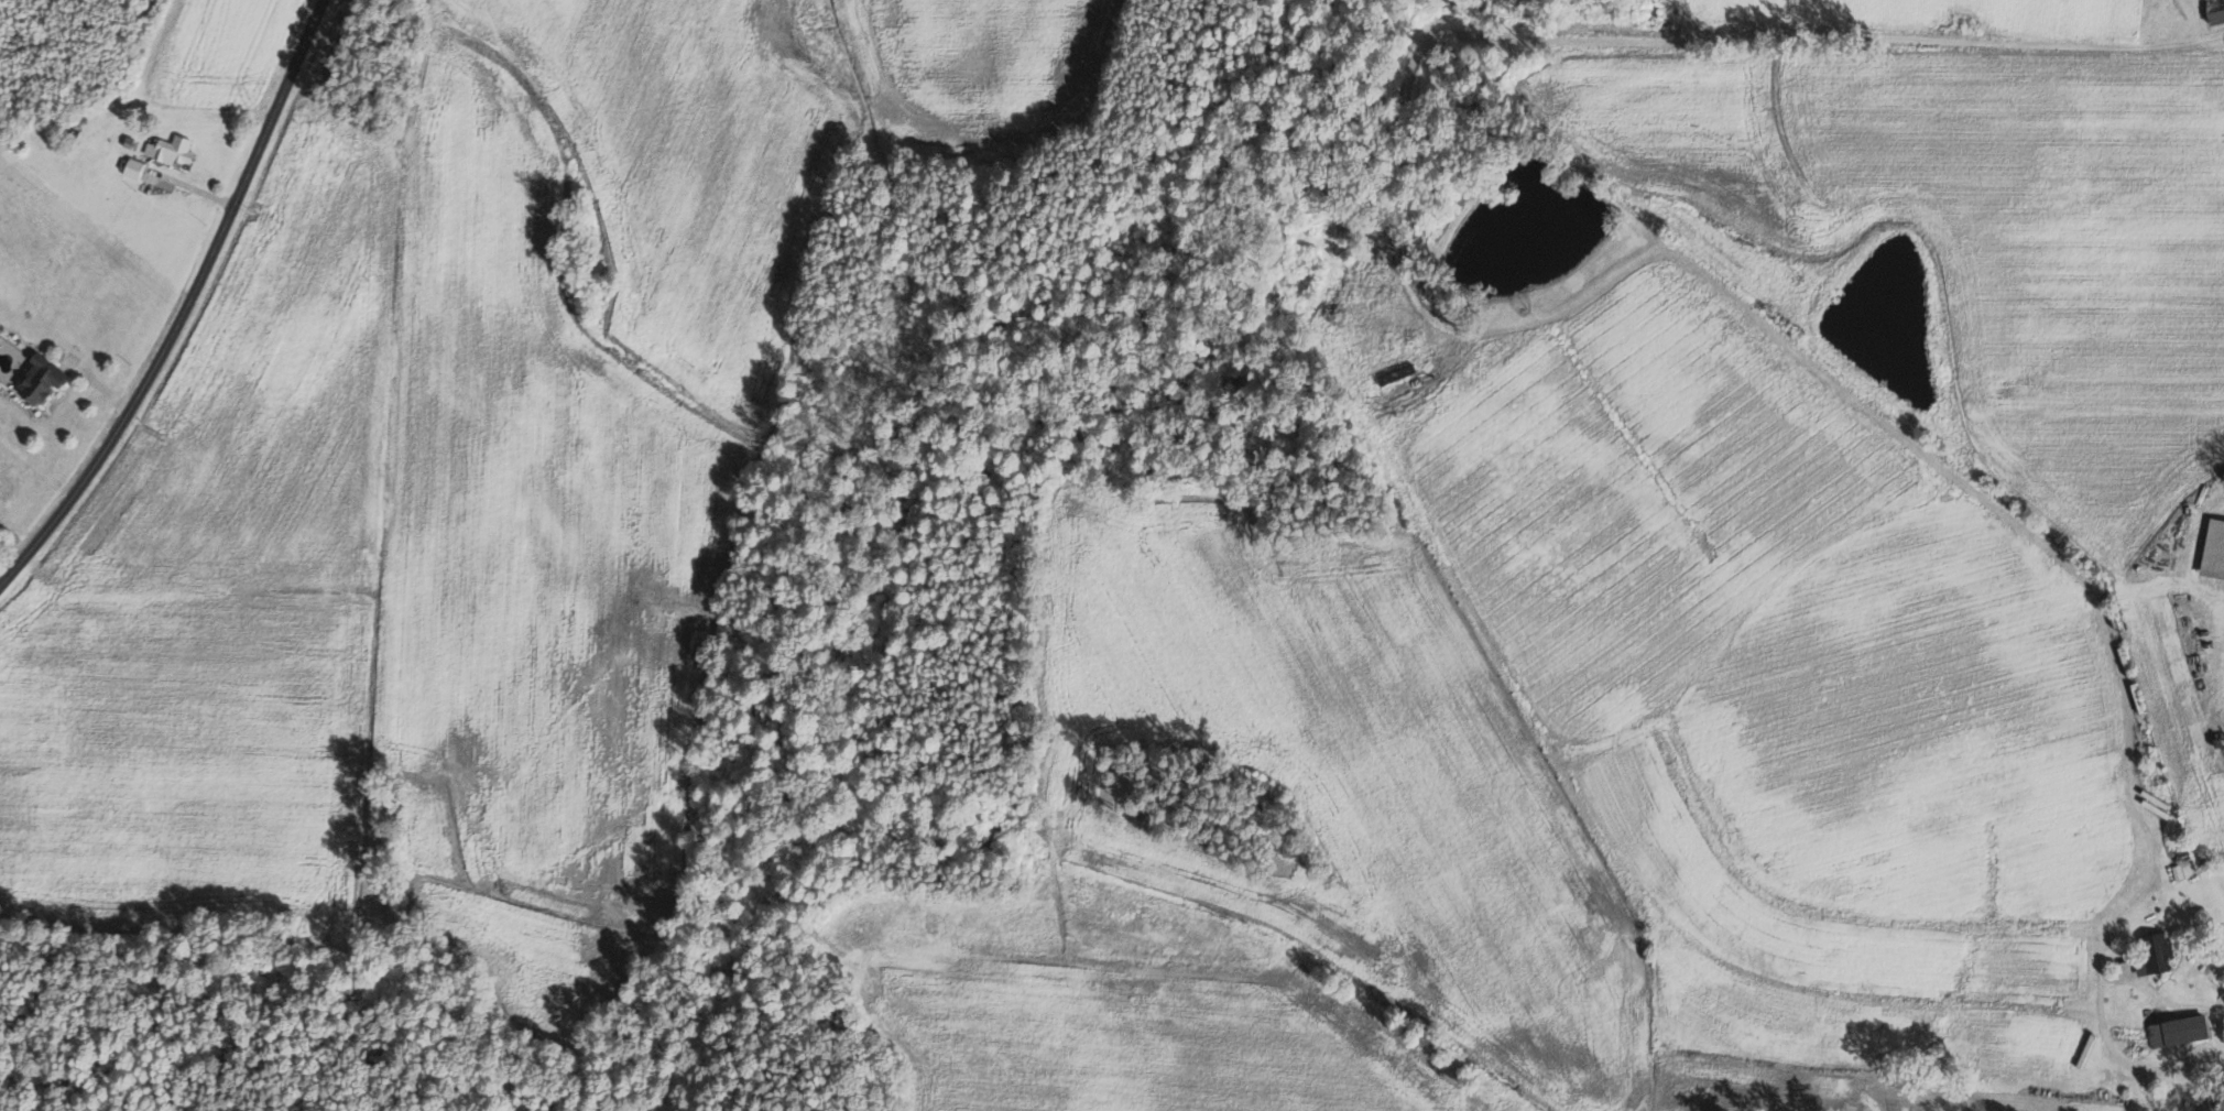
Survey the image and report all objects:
building: (2217, 11)
road: (2213, 35)
building: (174, 150)
building: (134, 166)
road: (138, 171)
road: (185, 307)
building: (1395, 375)
building: (45, 380)
building: (2216, 551)
road: (3, 577)
building: (2179, 872)
building: (2159, 956)
road: (2096, 1011)
building: (2182, 1032)

